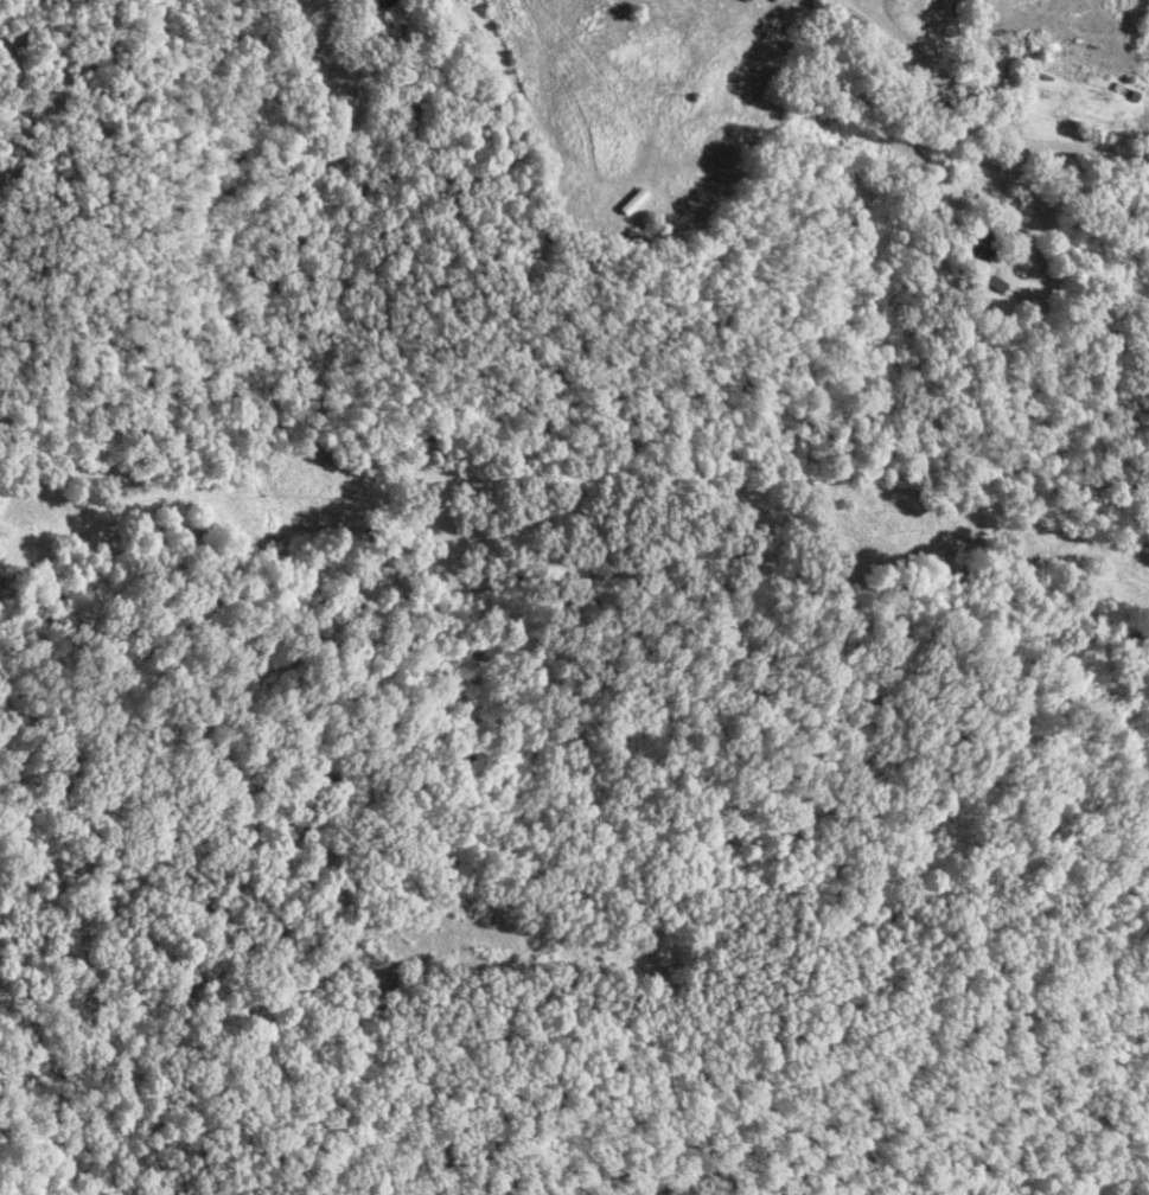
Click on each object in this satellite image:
road: (983, 120)
building: (979, 263)

